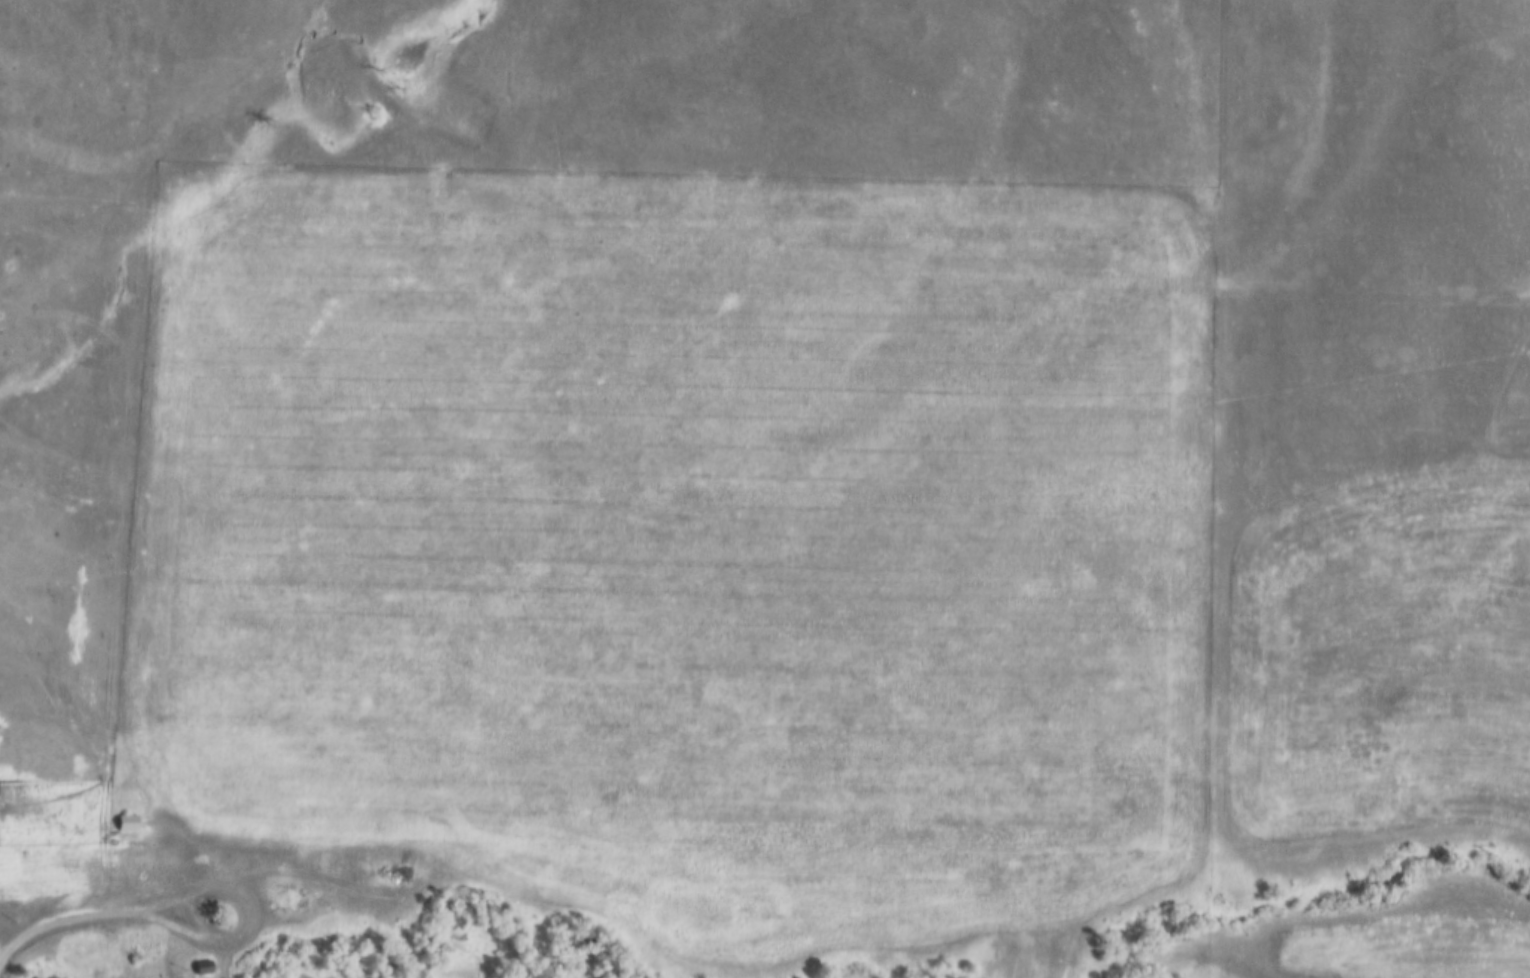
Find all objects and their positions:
building: (286, 899)
road: (292, 917)
road: (81, 922)

